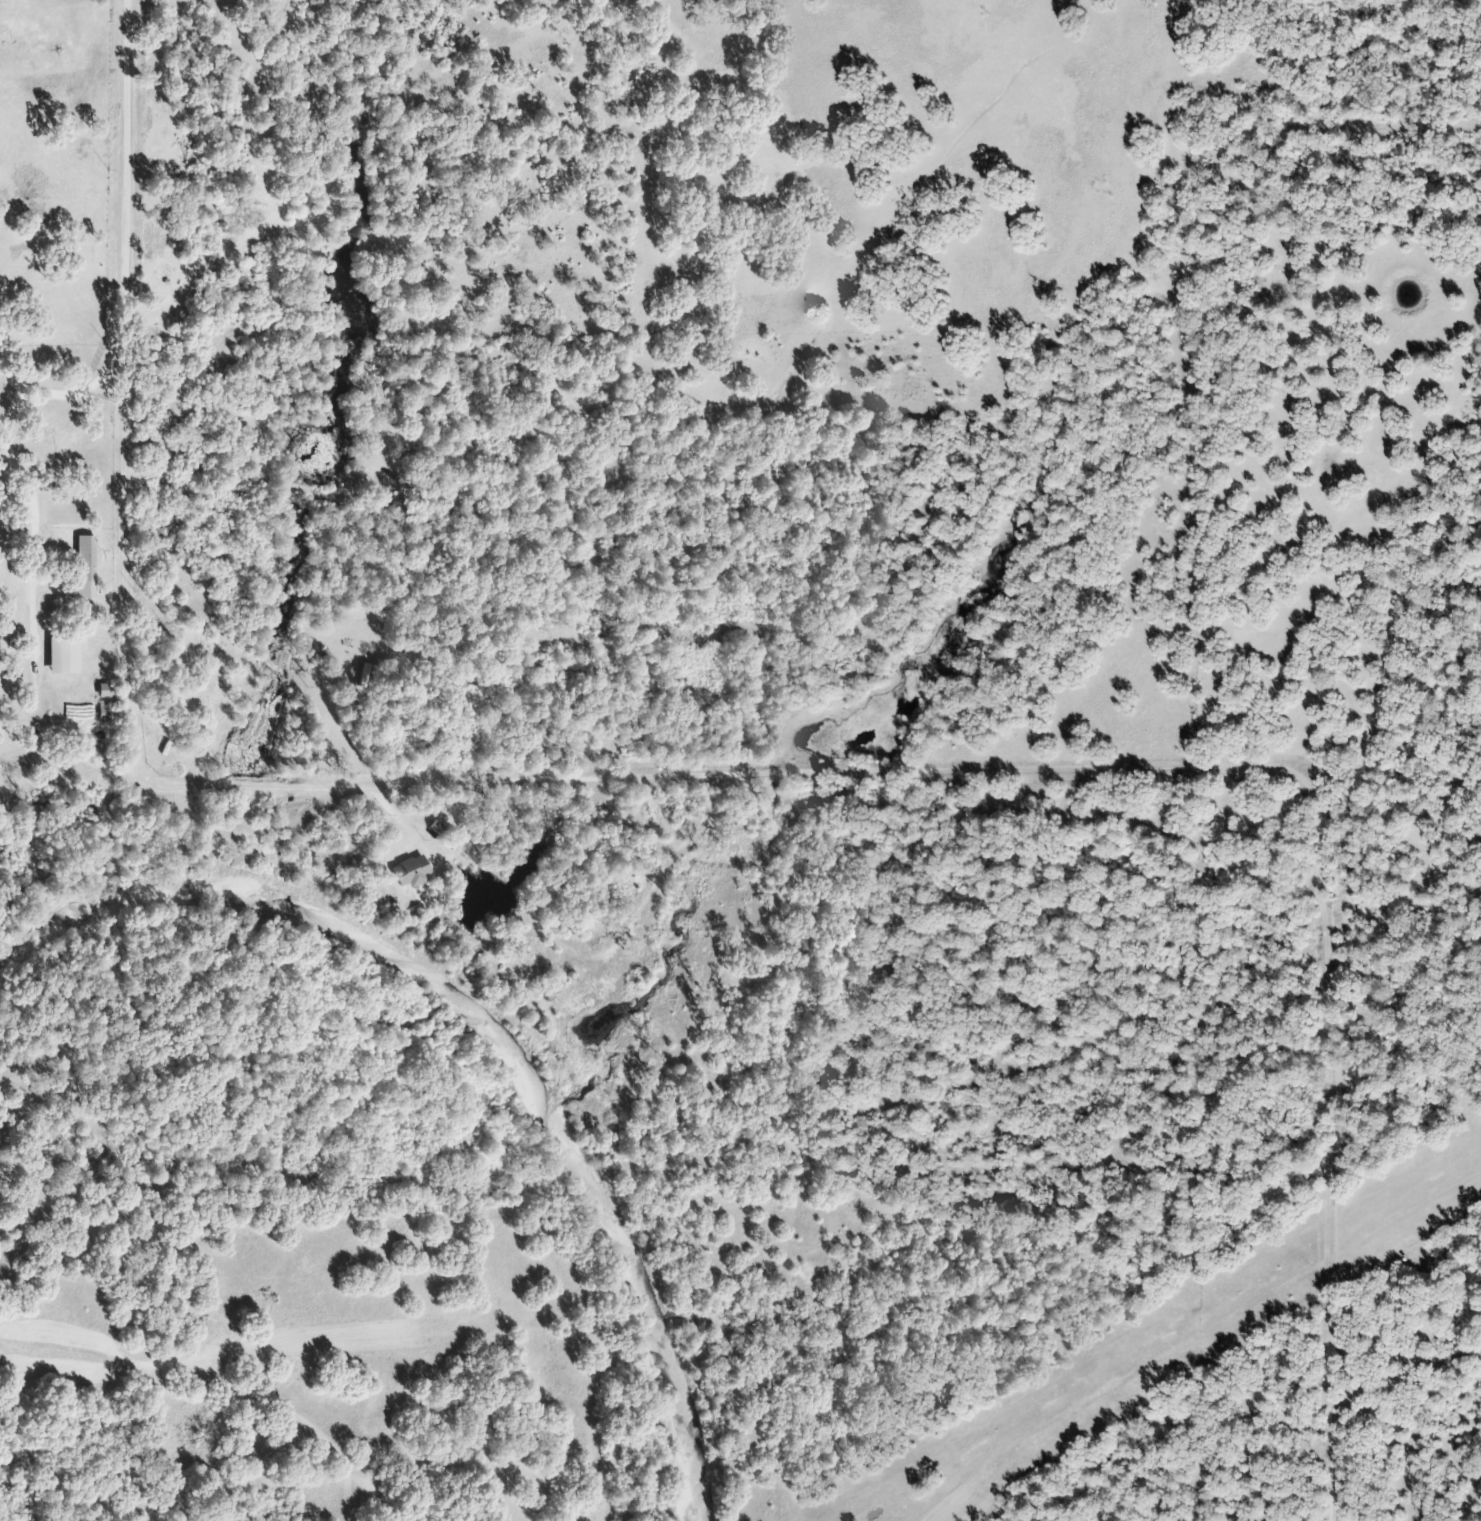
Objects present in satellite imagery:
road: (85, 382)
building: (80, 566)
building: (59, 654)
building: (100, 701)
building: (88, 728)

